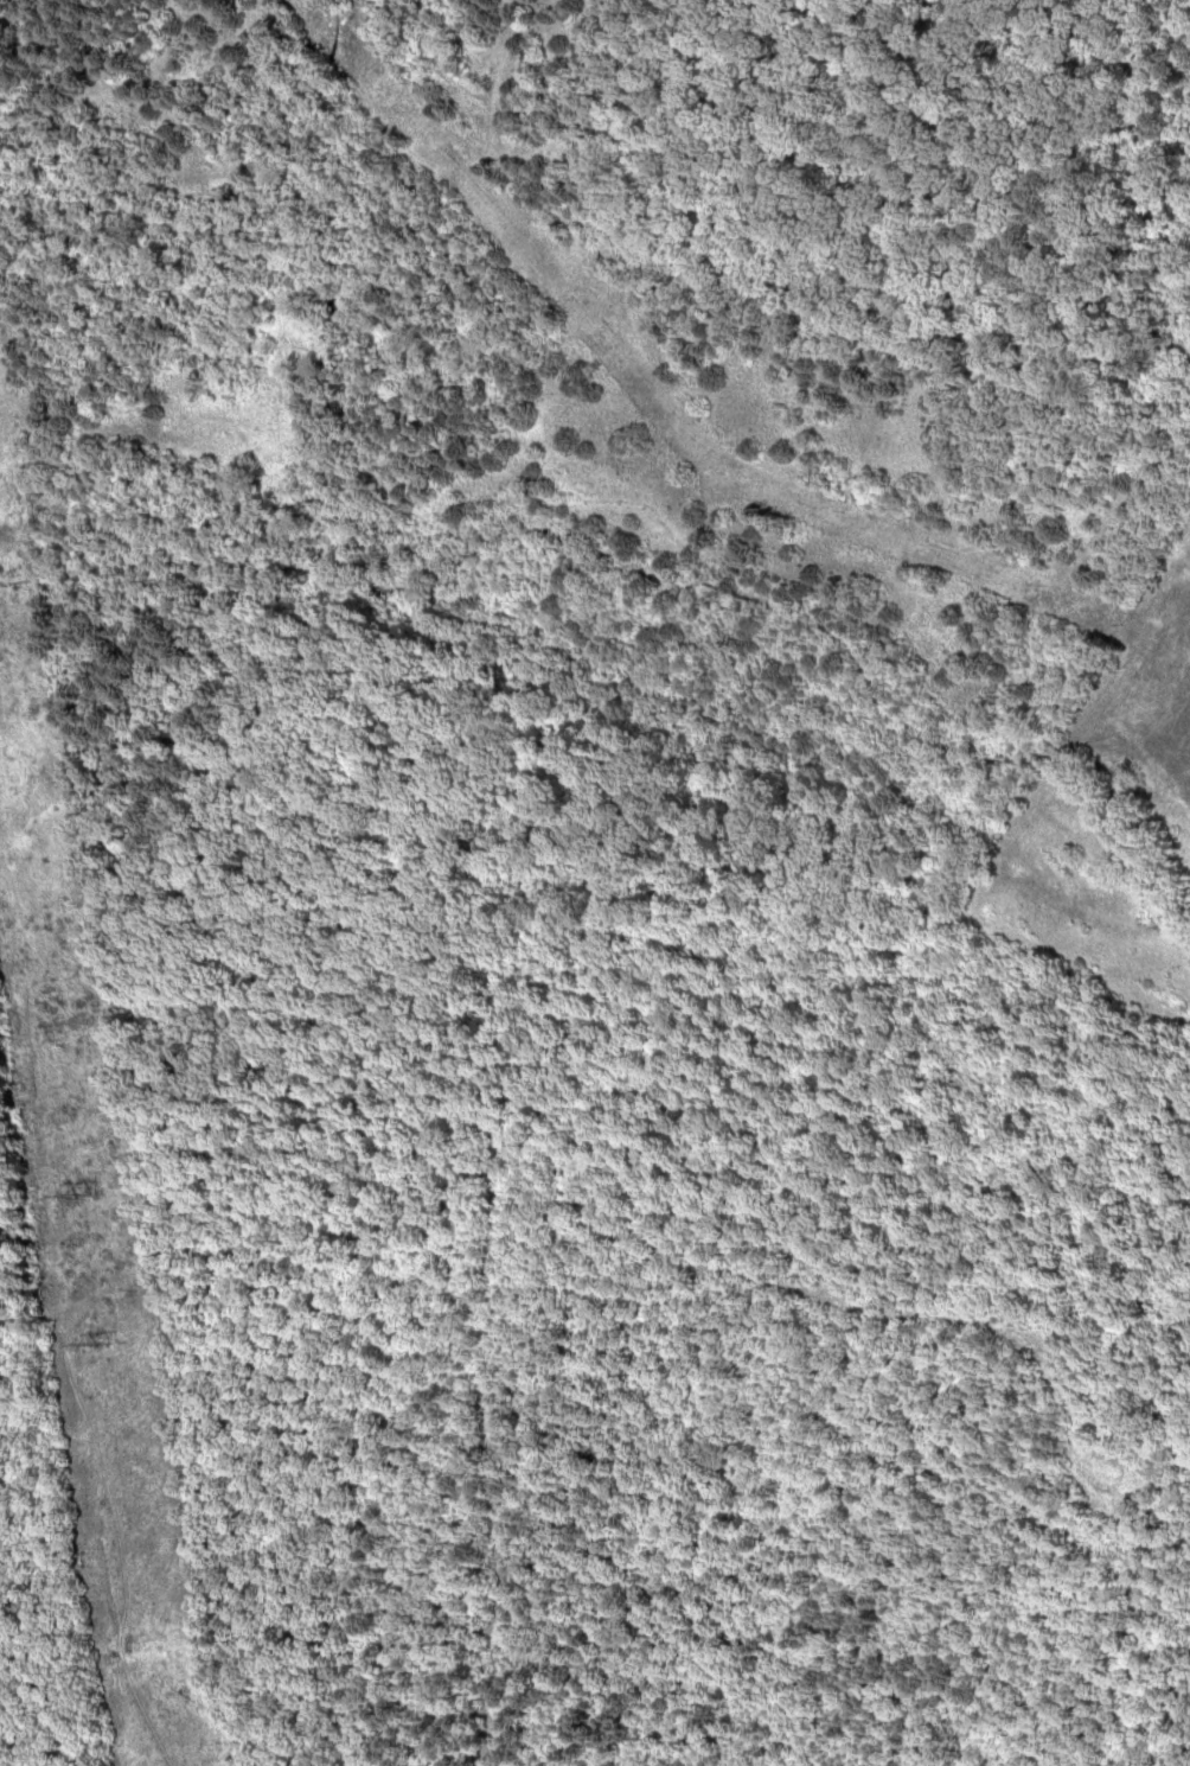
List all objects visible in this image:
road: (865, 268)
power tower: (85, 1194)
power tower: (108, 1343)

